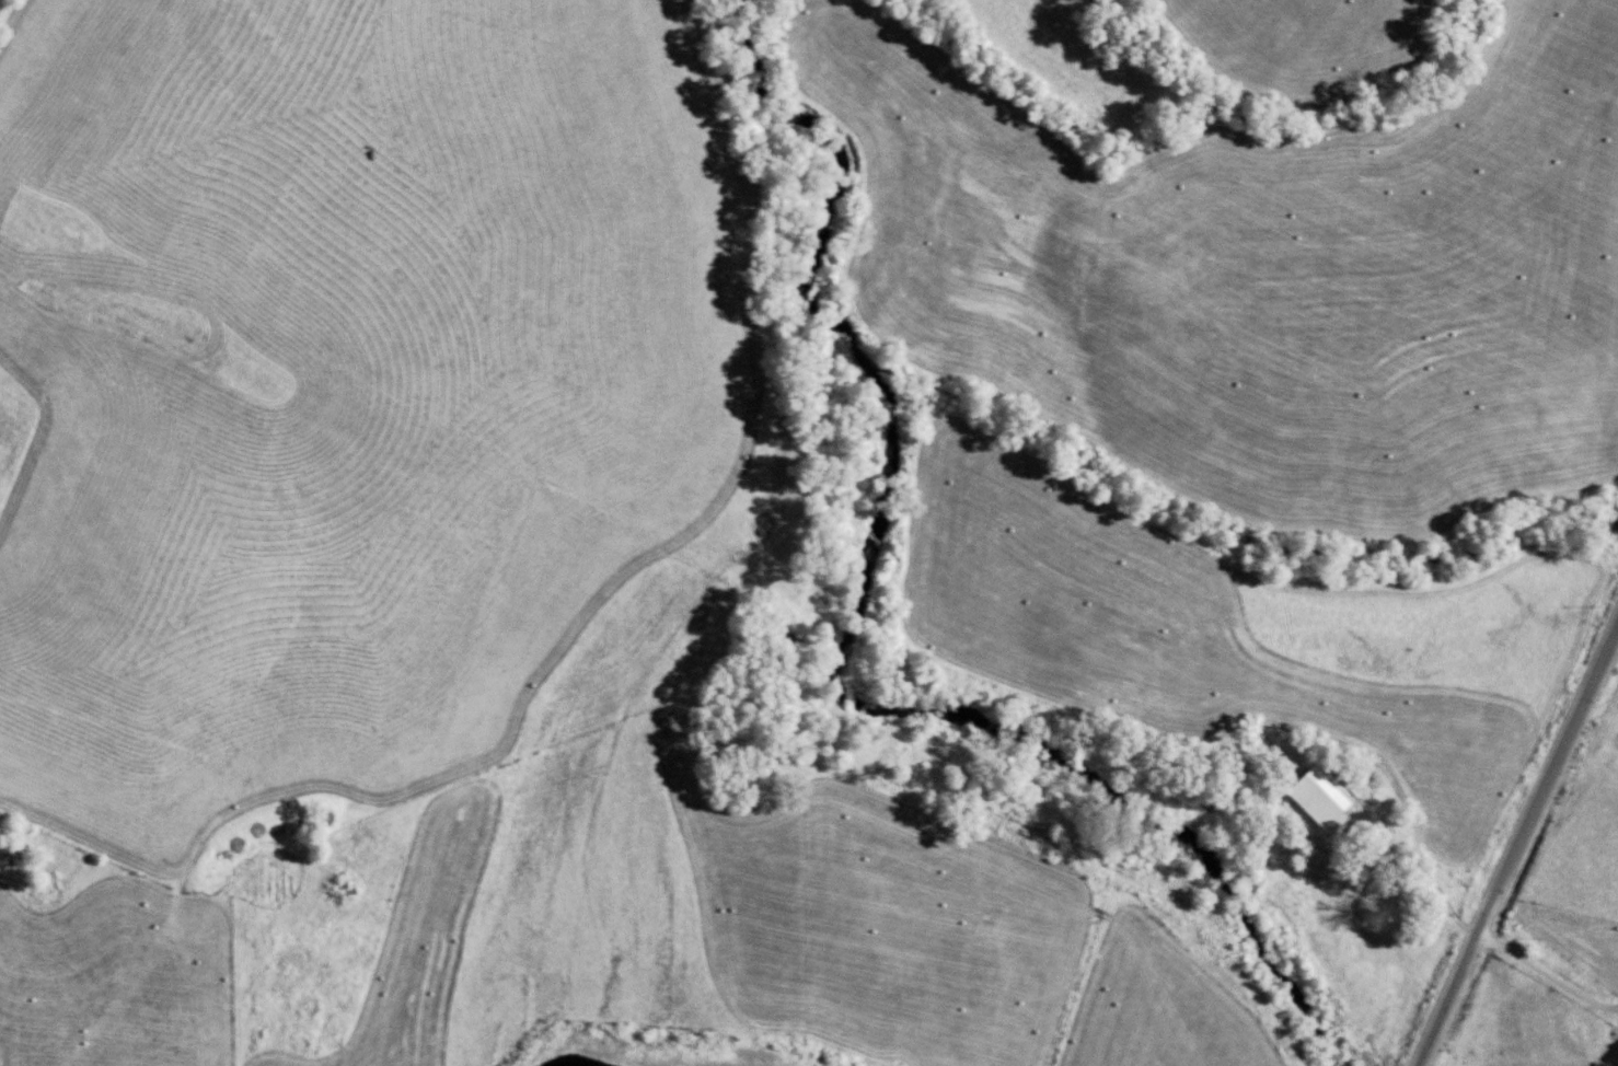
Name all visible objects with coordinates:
road: (1518, 848)
road: (1413, 867)
road: (1545, 974)

